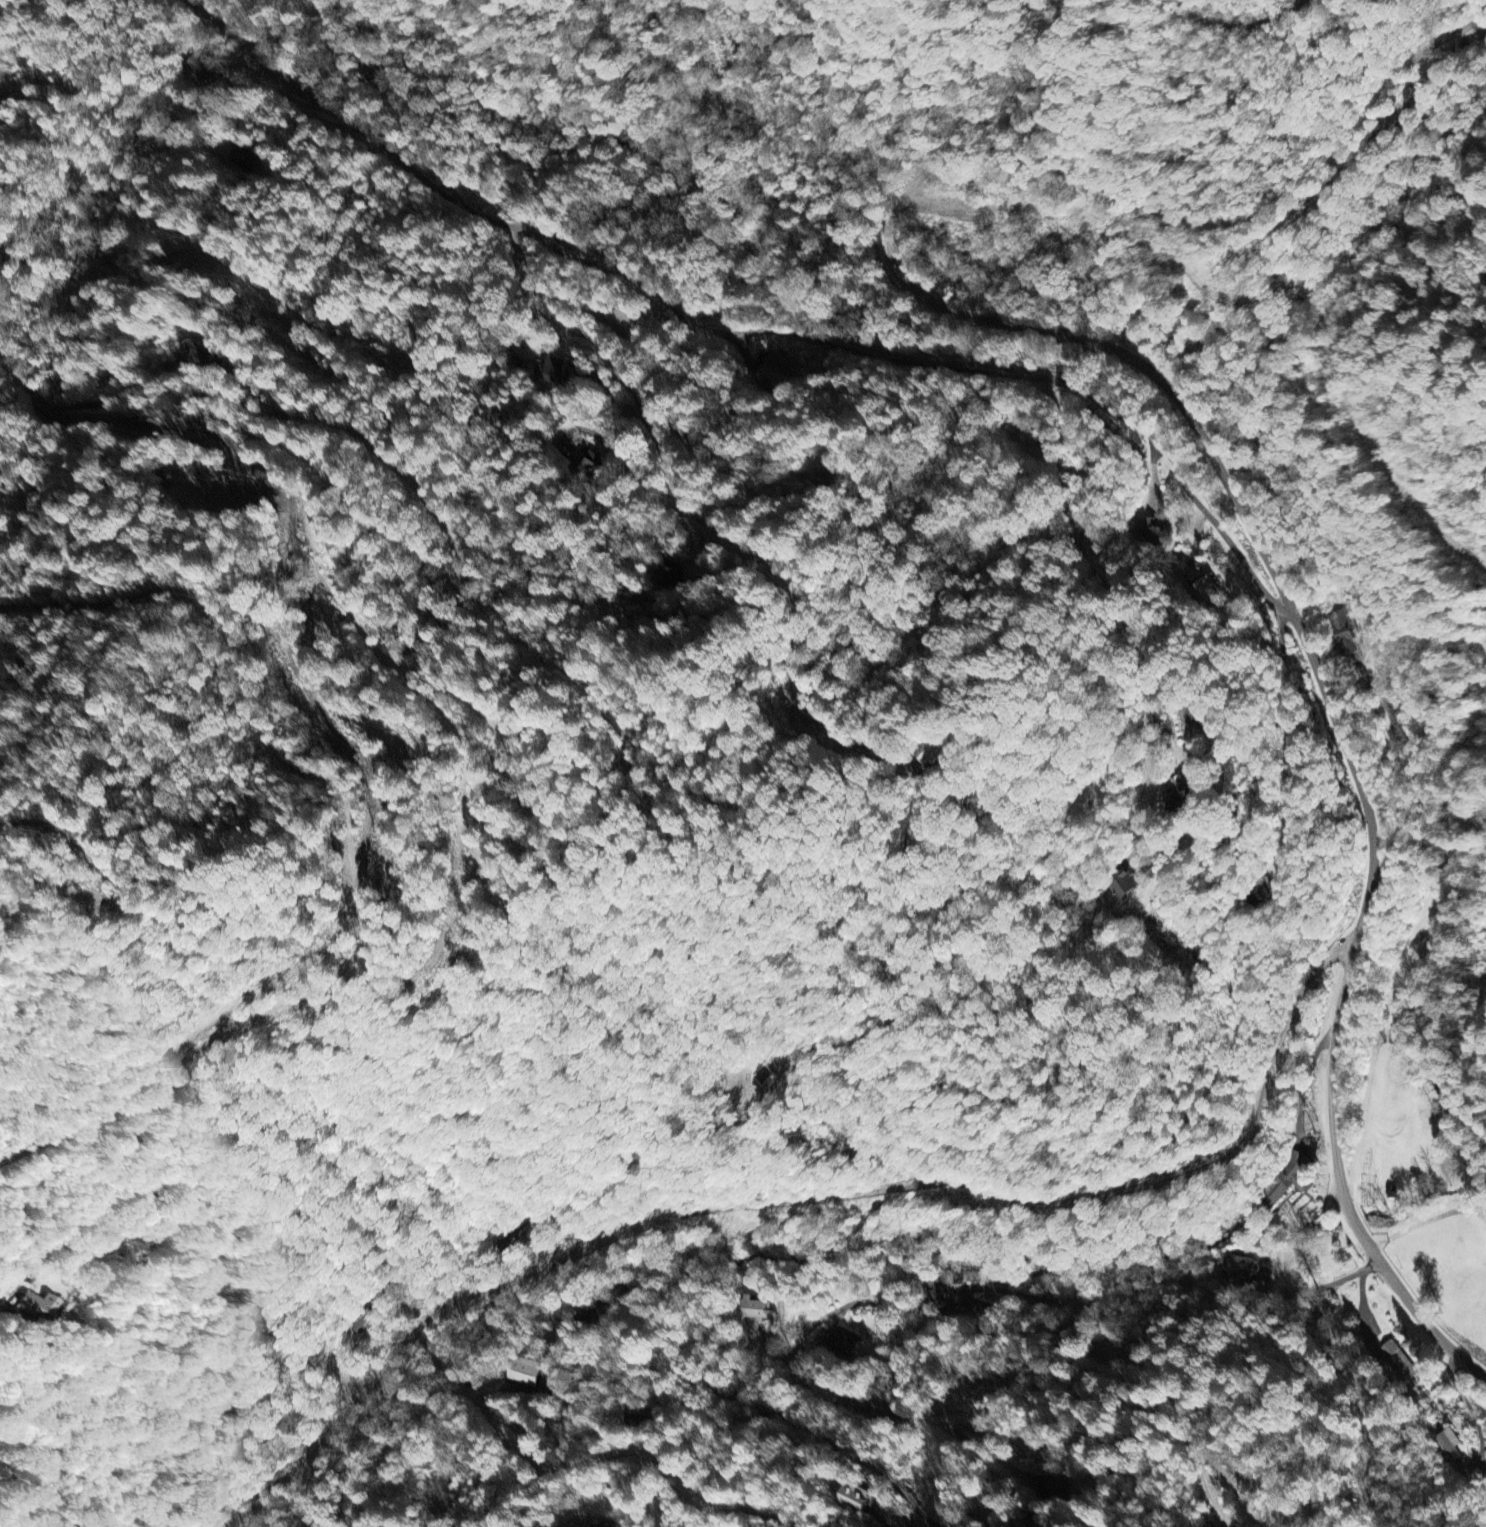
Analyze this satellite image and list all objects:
road: (744, 330)
building: (554, 372)
road: (1149, 392)
road: (133, 417)
building: (1152, 528)
building: (1343, 634)
building: (1128, 883)
road: (774, 1064)
building: (762, 1074)
road: (93, 1164)
building: (1292, 1175)
road: (814, 1187)
building: (1240, 1265)
road: (19, 1278)
building: (38, 1306)
building: (759, 1309)
road: (1018, 1326)
building: (842, 1341)
building: (1398, 1362)
building: (528, 1374)
road: (1357, 1395)
road: (1464, 1396)
road: (864, 1424)
building: (1451, 1445)
road: (563, 1460)
road: (263, 1492)
building: (858, 1497)

